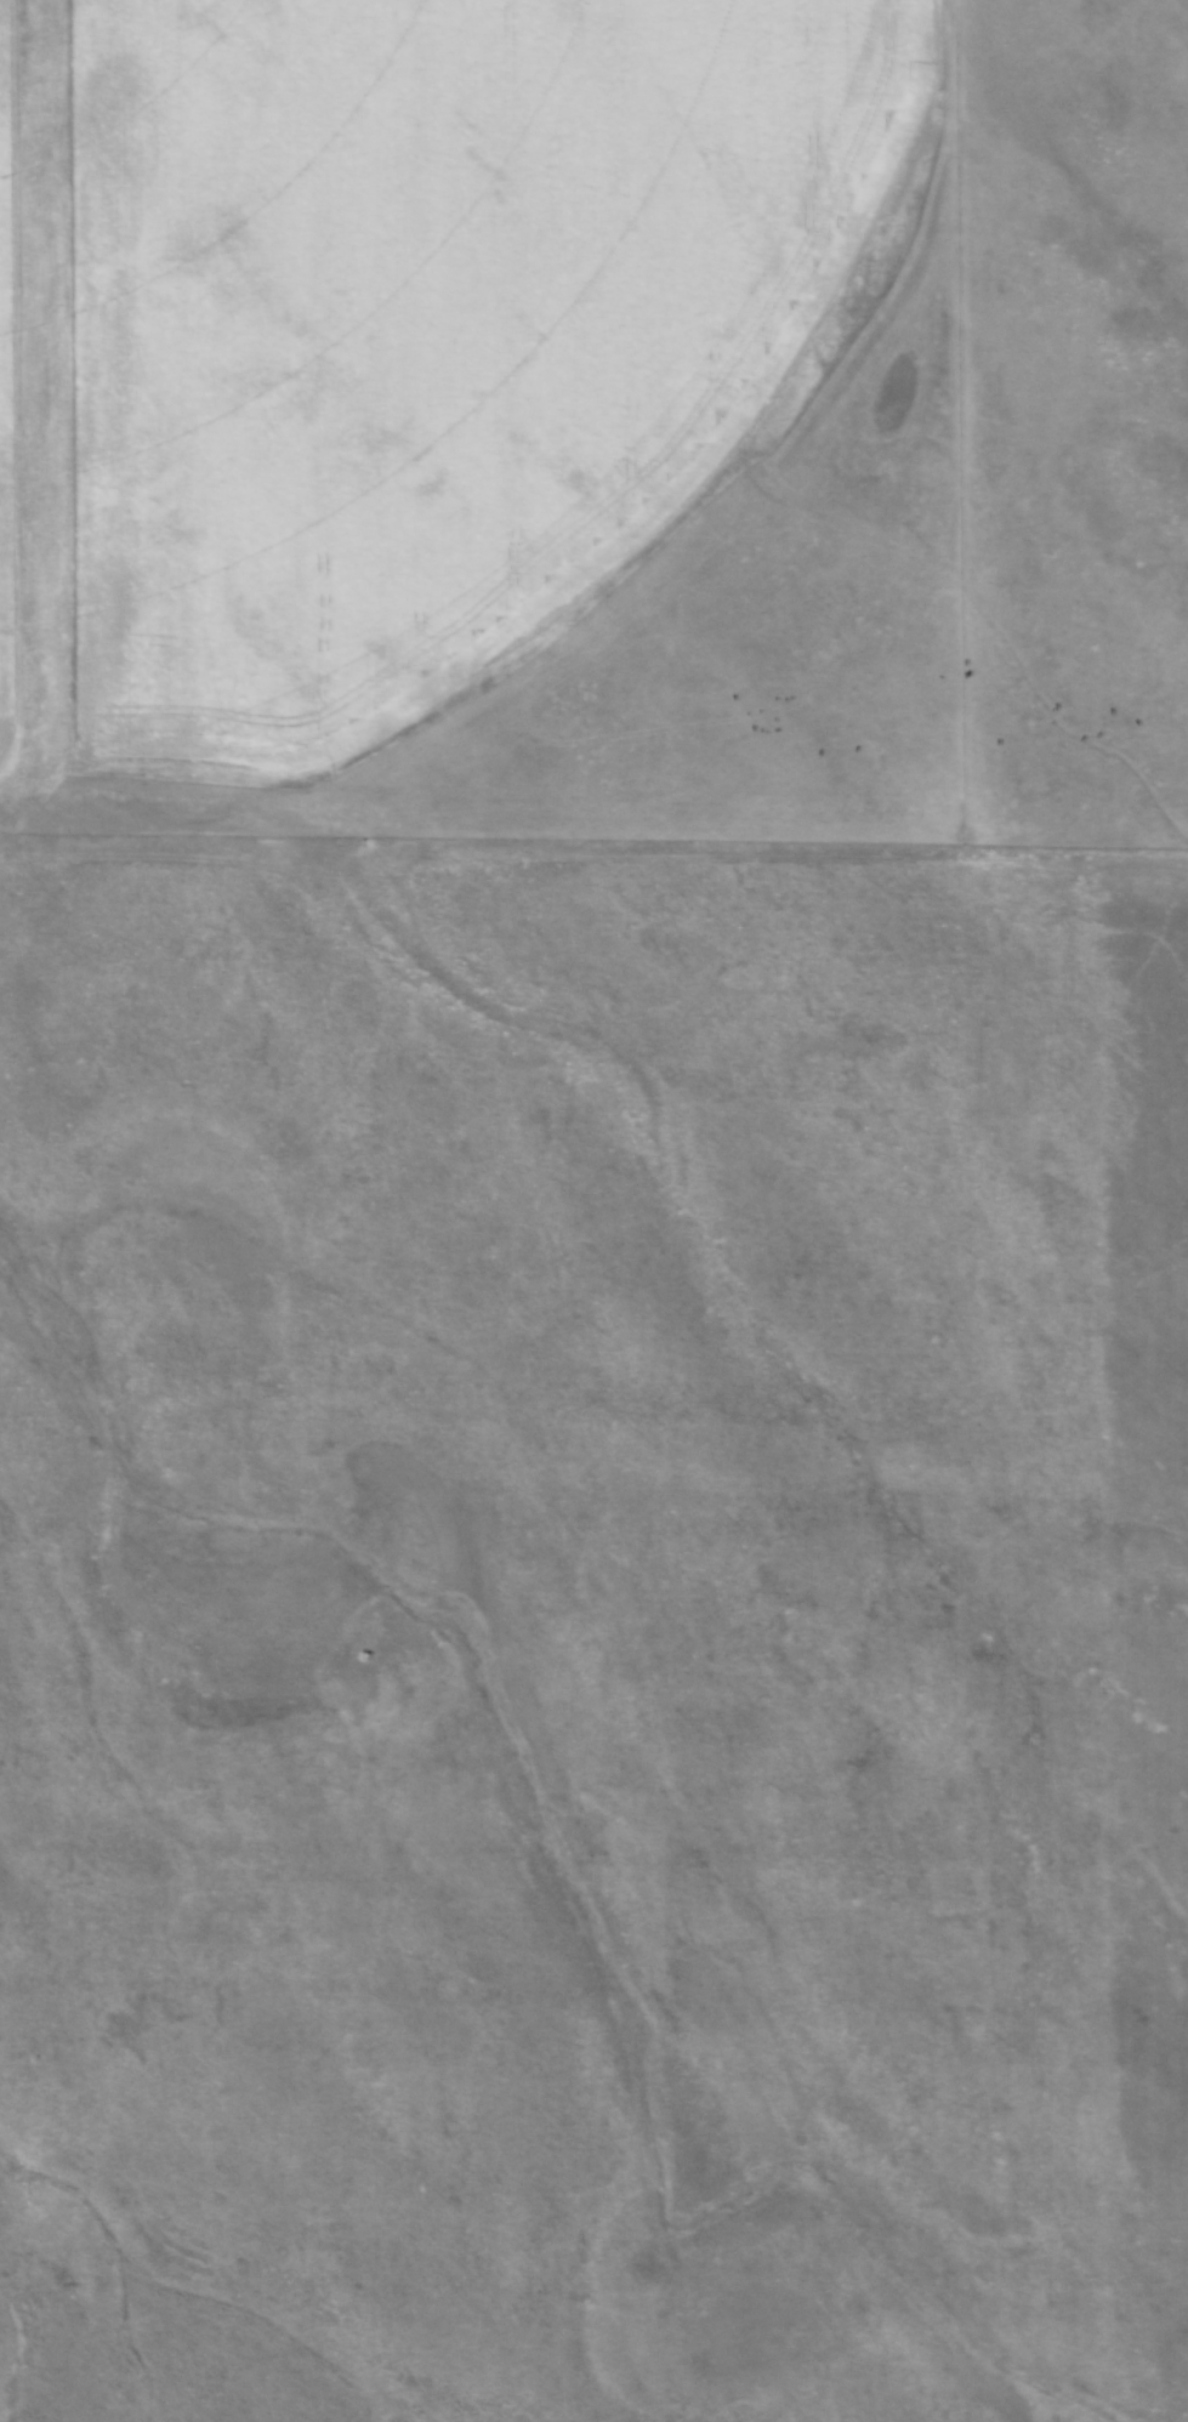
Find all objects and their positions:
crop: (433, 324)
crop: (4, 375)

